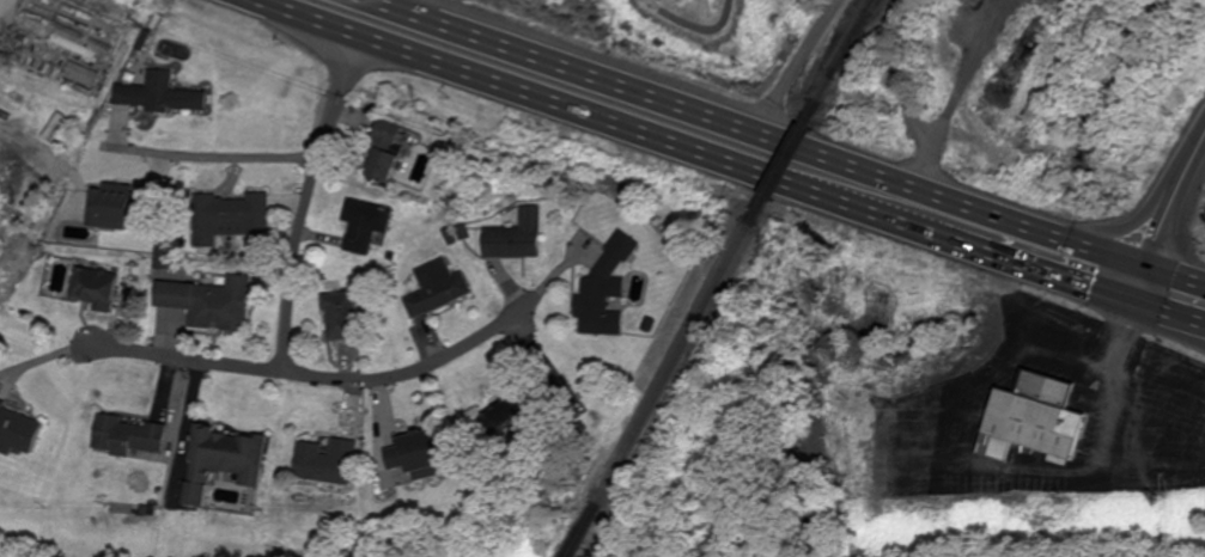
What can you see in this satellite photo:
building: (976, 4)
road: (398, 6)
road: (1, 16)
road: (700, 23)
railway: (865, 31)
railway: (850, 50)
road: (797, 63)
building: (85, 76)
building: (164, 97)
building: (18, 103)
road: (786, 141)
building: (389, 154)
road: (211, 155)
road: (731, 164)
railway: (790, 164)
road: (309, 202)
road: (1164, 214)
building: (239, 219)
building: (370, 226)
building: (521, 238)
traffic signals: (1150, 270)
building: (99, 289)
building: (610, 290)
building: (442, 292)
building: (209, 300)
traffic signals: (1139, 308)
building: (347, 317)
road: (1171, 326)
road: (183, 359)
road: (445, 360)
railway: (682, 365)
building: (518, 415)
building: (1046, 429)
building: (22, 430)
building: (139, 437)
building: (427, 455)
building: (230, 460)
building: (334, 461)
road: (1005, 477)
railway: (592, 531)

